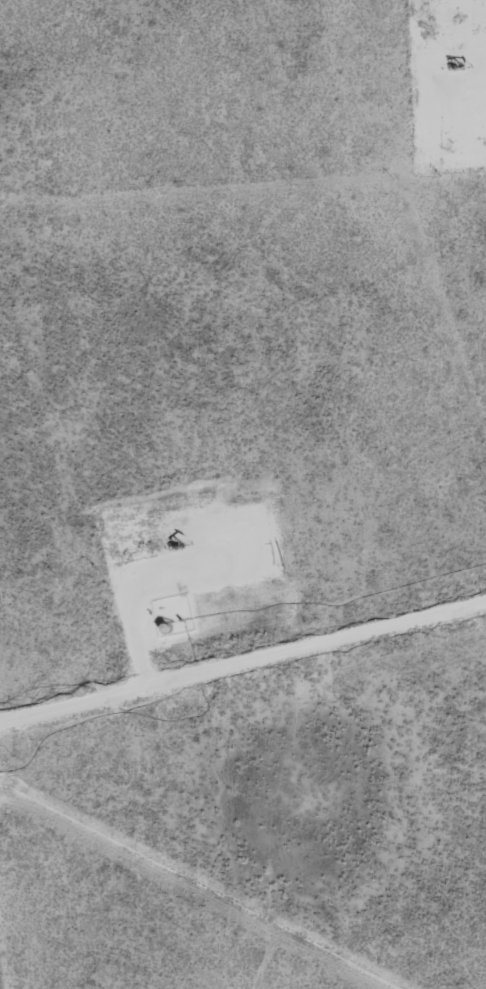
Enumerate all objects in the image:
road: (243, 665)

